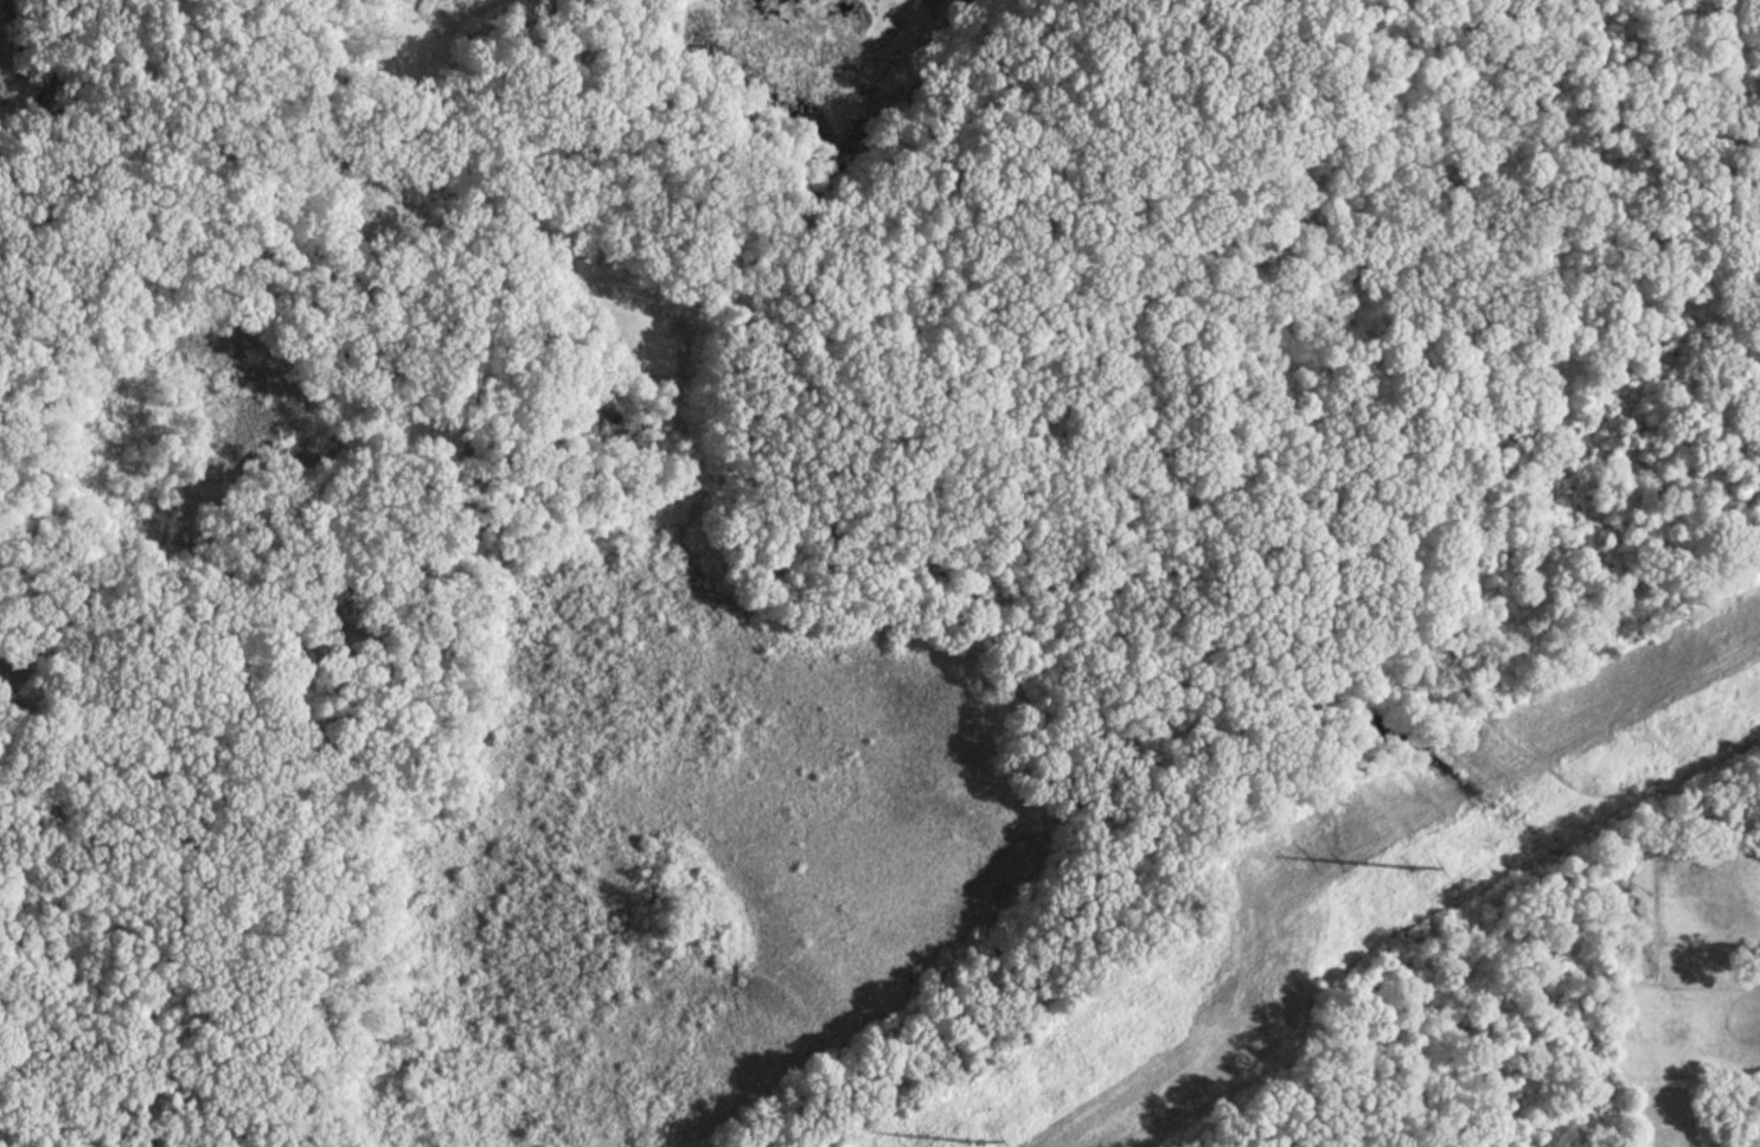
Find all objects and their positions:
road: (1542, 44)
road: (101, 214)
road: (943, 365)
park: (860, 563)
power tower: (1414, 873)

